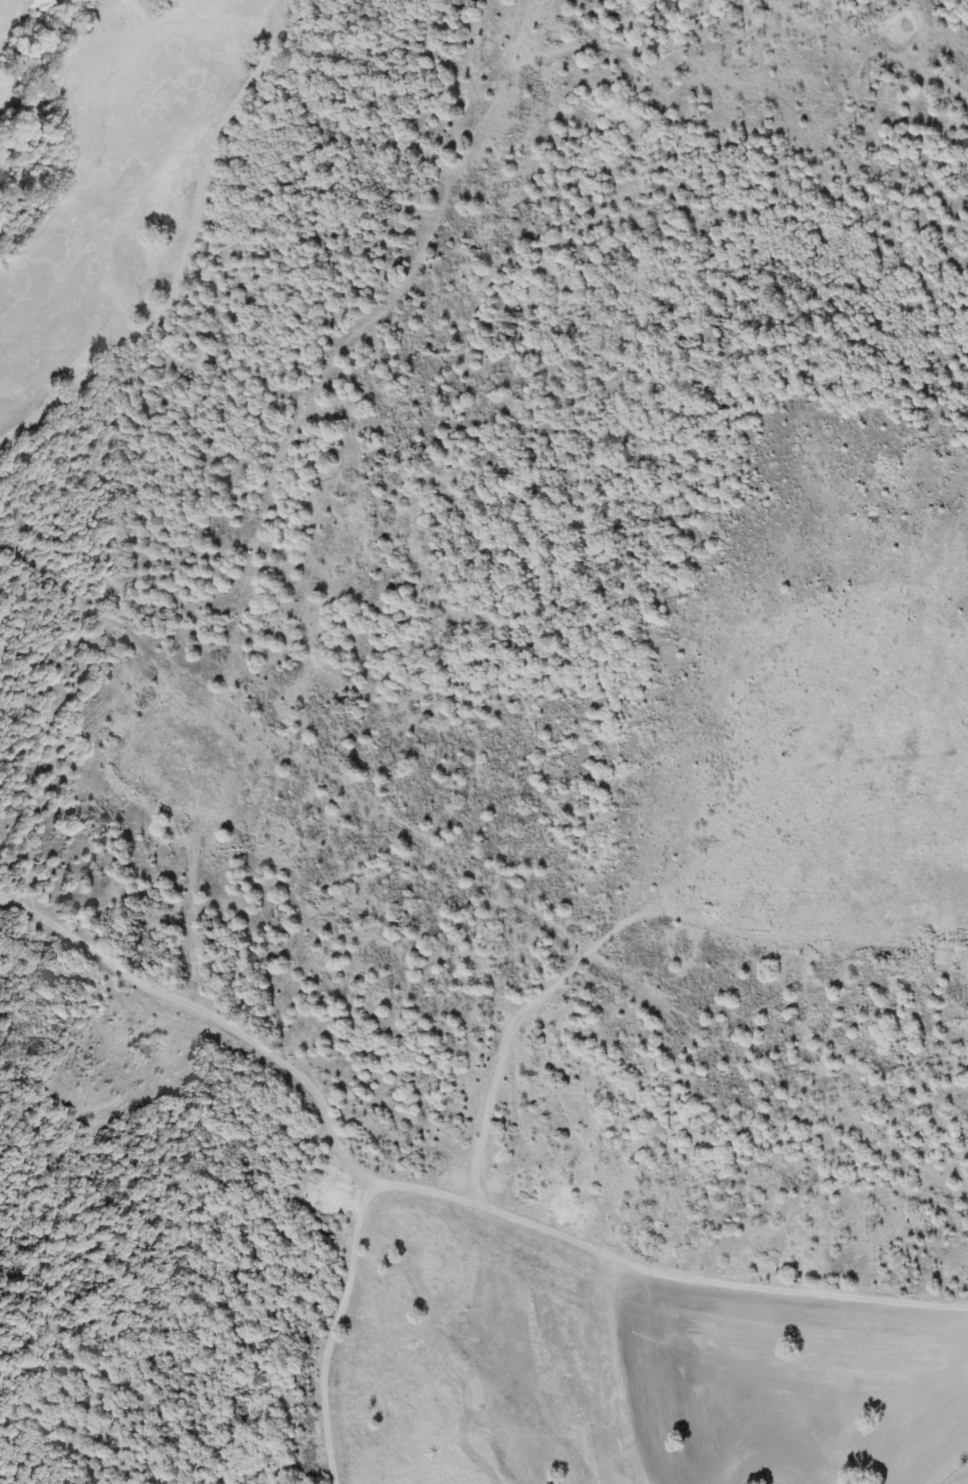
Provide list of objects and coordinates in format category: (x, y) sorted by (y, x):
road: (439, 1189)
road: (330, 1324)

